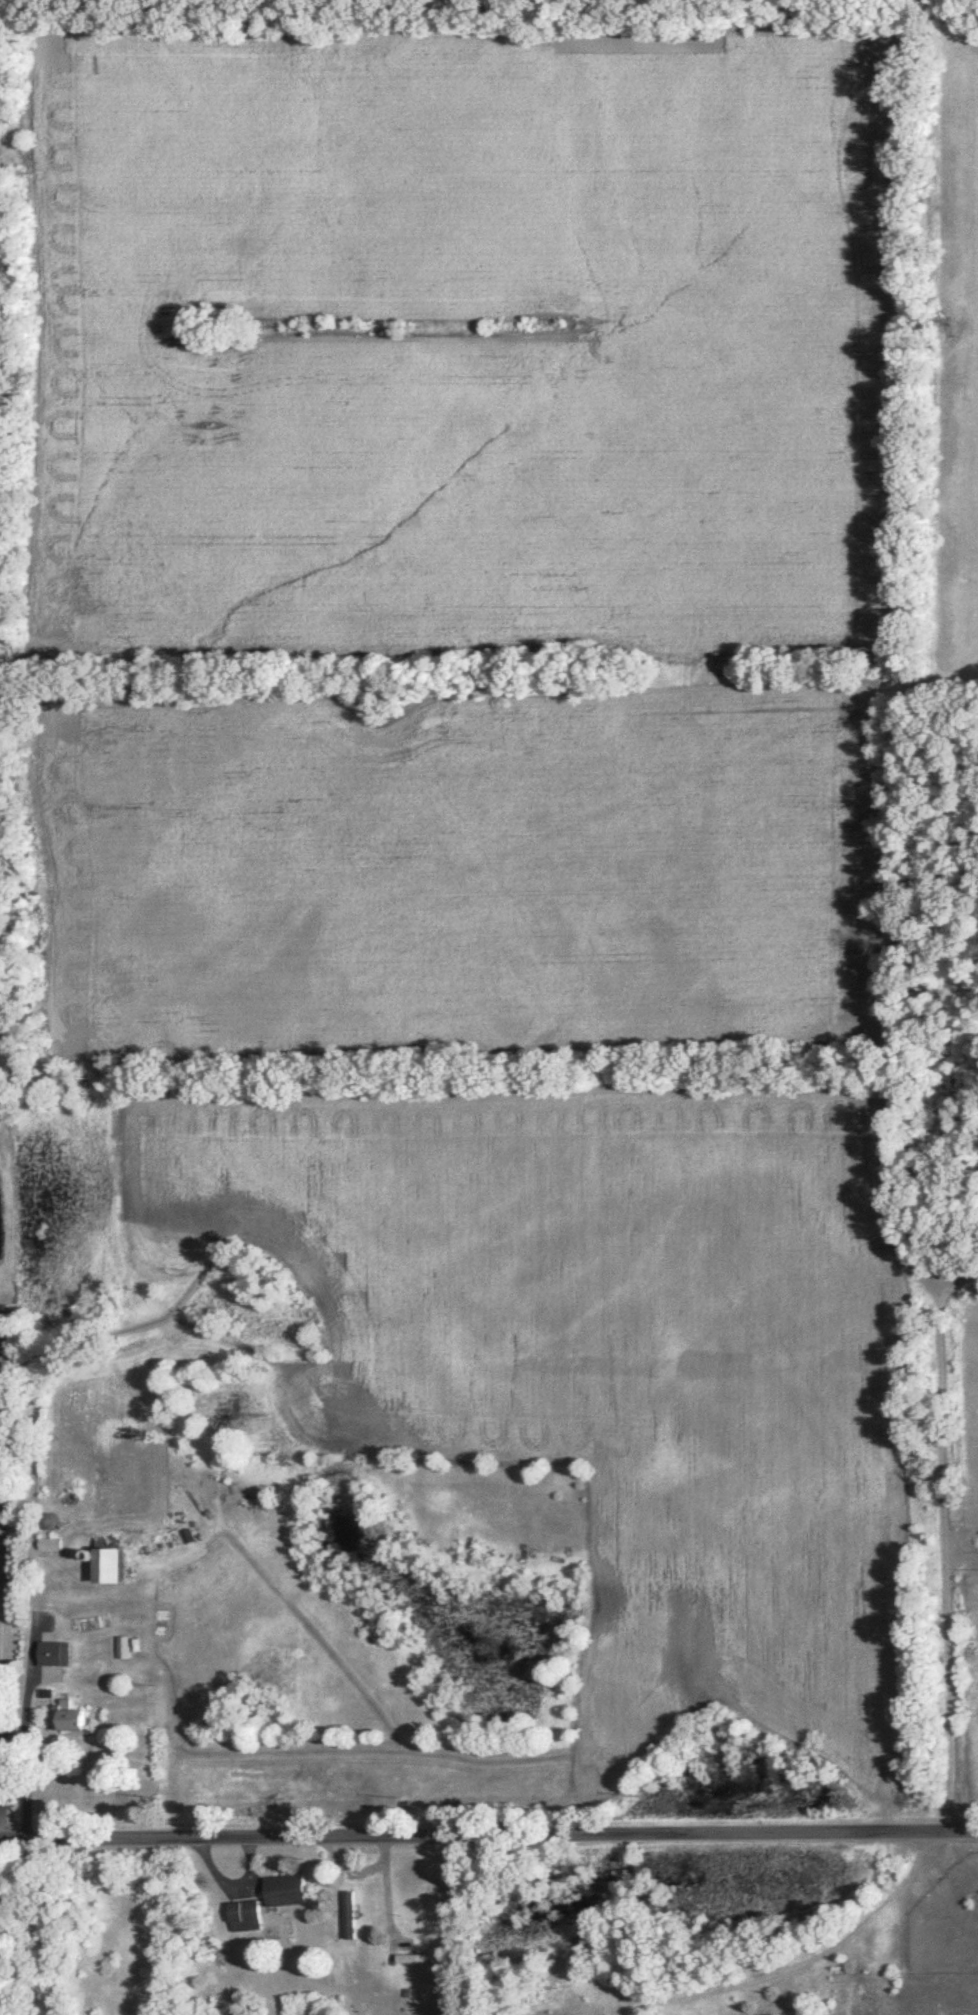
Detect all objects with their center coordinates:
road: (768, 17)
road: (538, 30)
road: (909, 941)
road: (961, 1287)
building: (5, 1351)
road: (966, 1560)
building: (103, 1565)
road: (1, 1707)
building: (65, 1718)
road: (489, 1840)
building: (283, 1892)
building: (347, 1916)
building: (243, 1918)
building: (415, 1960)

